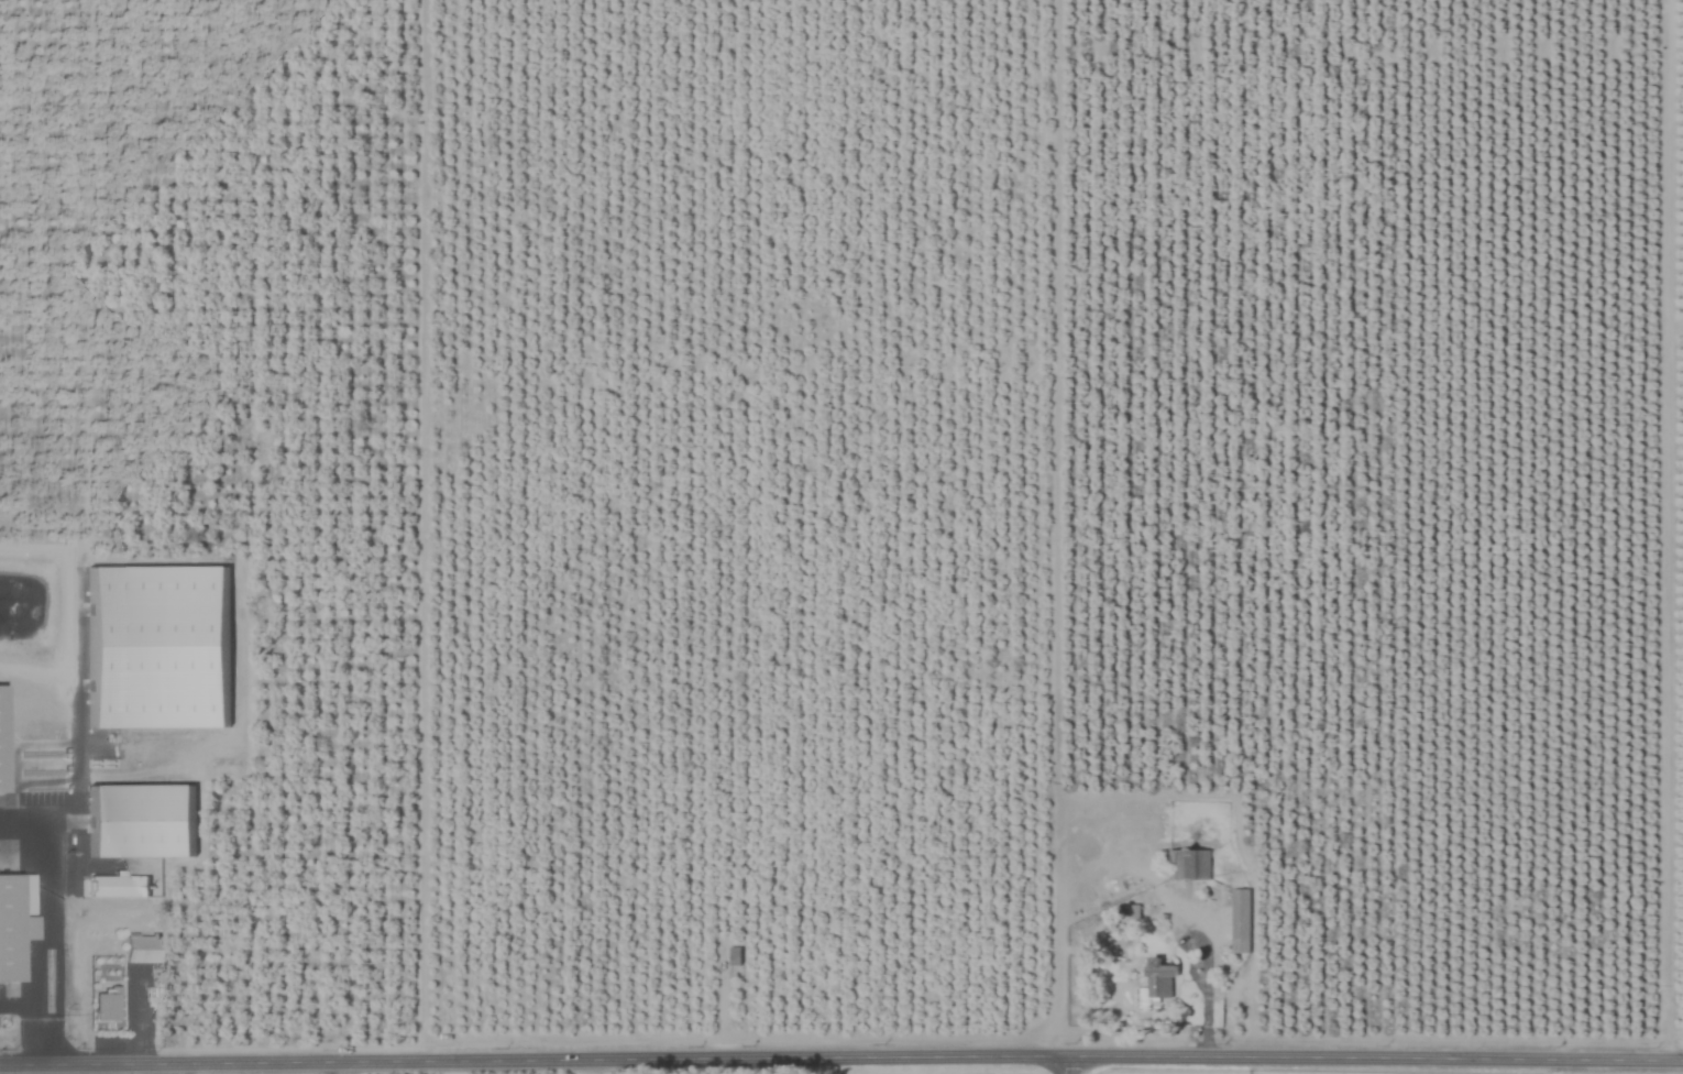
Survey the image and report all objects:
road: (1667, 529)
building: (139, 821)
building: (1188, 865)
road: (42, 906)
building: (1240, 921)
building: (10, 928)
building: (140, 947)
building: (1159, 979)
building: (105, 1005)
road: (33, 1019)
road: (132, 1019)
road: (840, 1056)
road: (1063, 1064)
road: (607, 1066)
road: (340, 1068)

